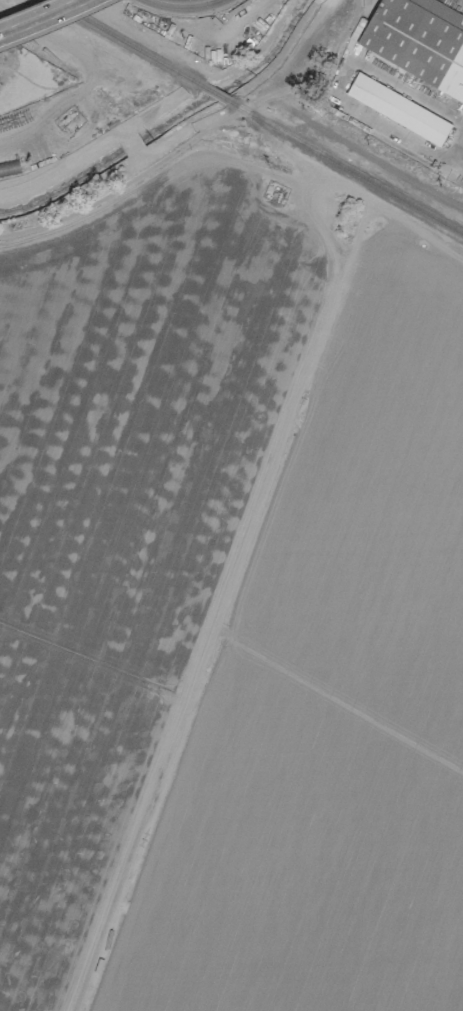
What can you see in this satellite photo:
road: (167, 2)
road: (194, 2)
road: (40, 16)
building: (418, 40)
railway: (127, 43)
park: (320, 46)
road: (297, 51)
road: (341, 81)
railway: (215, 93)
building: (398, 108)
road: (196, 136)
road: (456, 150)
railway: (345, 166)
road: (456, 166)
road: (155, 178)
road: (131, 431)
road: (240, 538)
crop: (231, 608)
road: (90, 667)
road: (58, 862)

